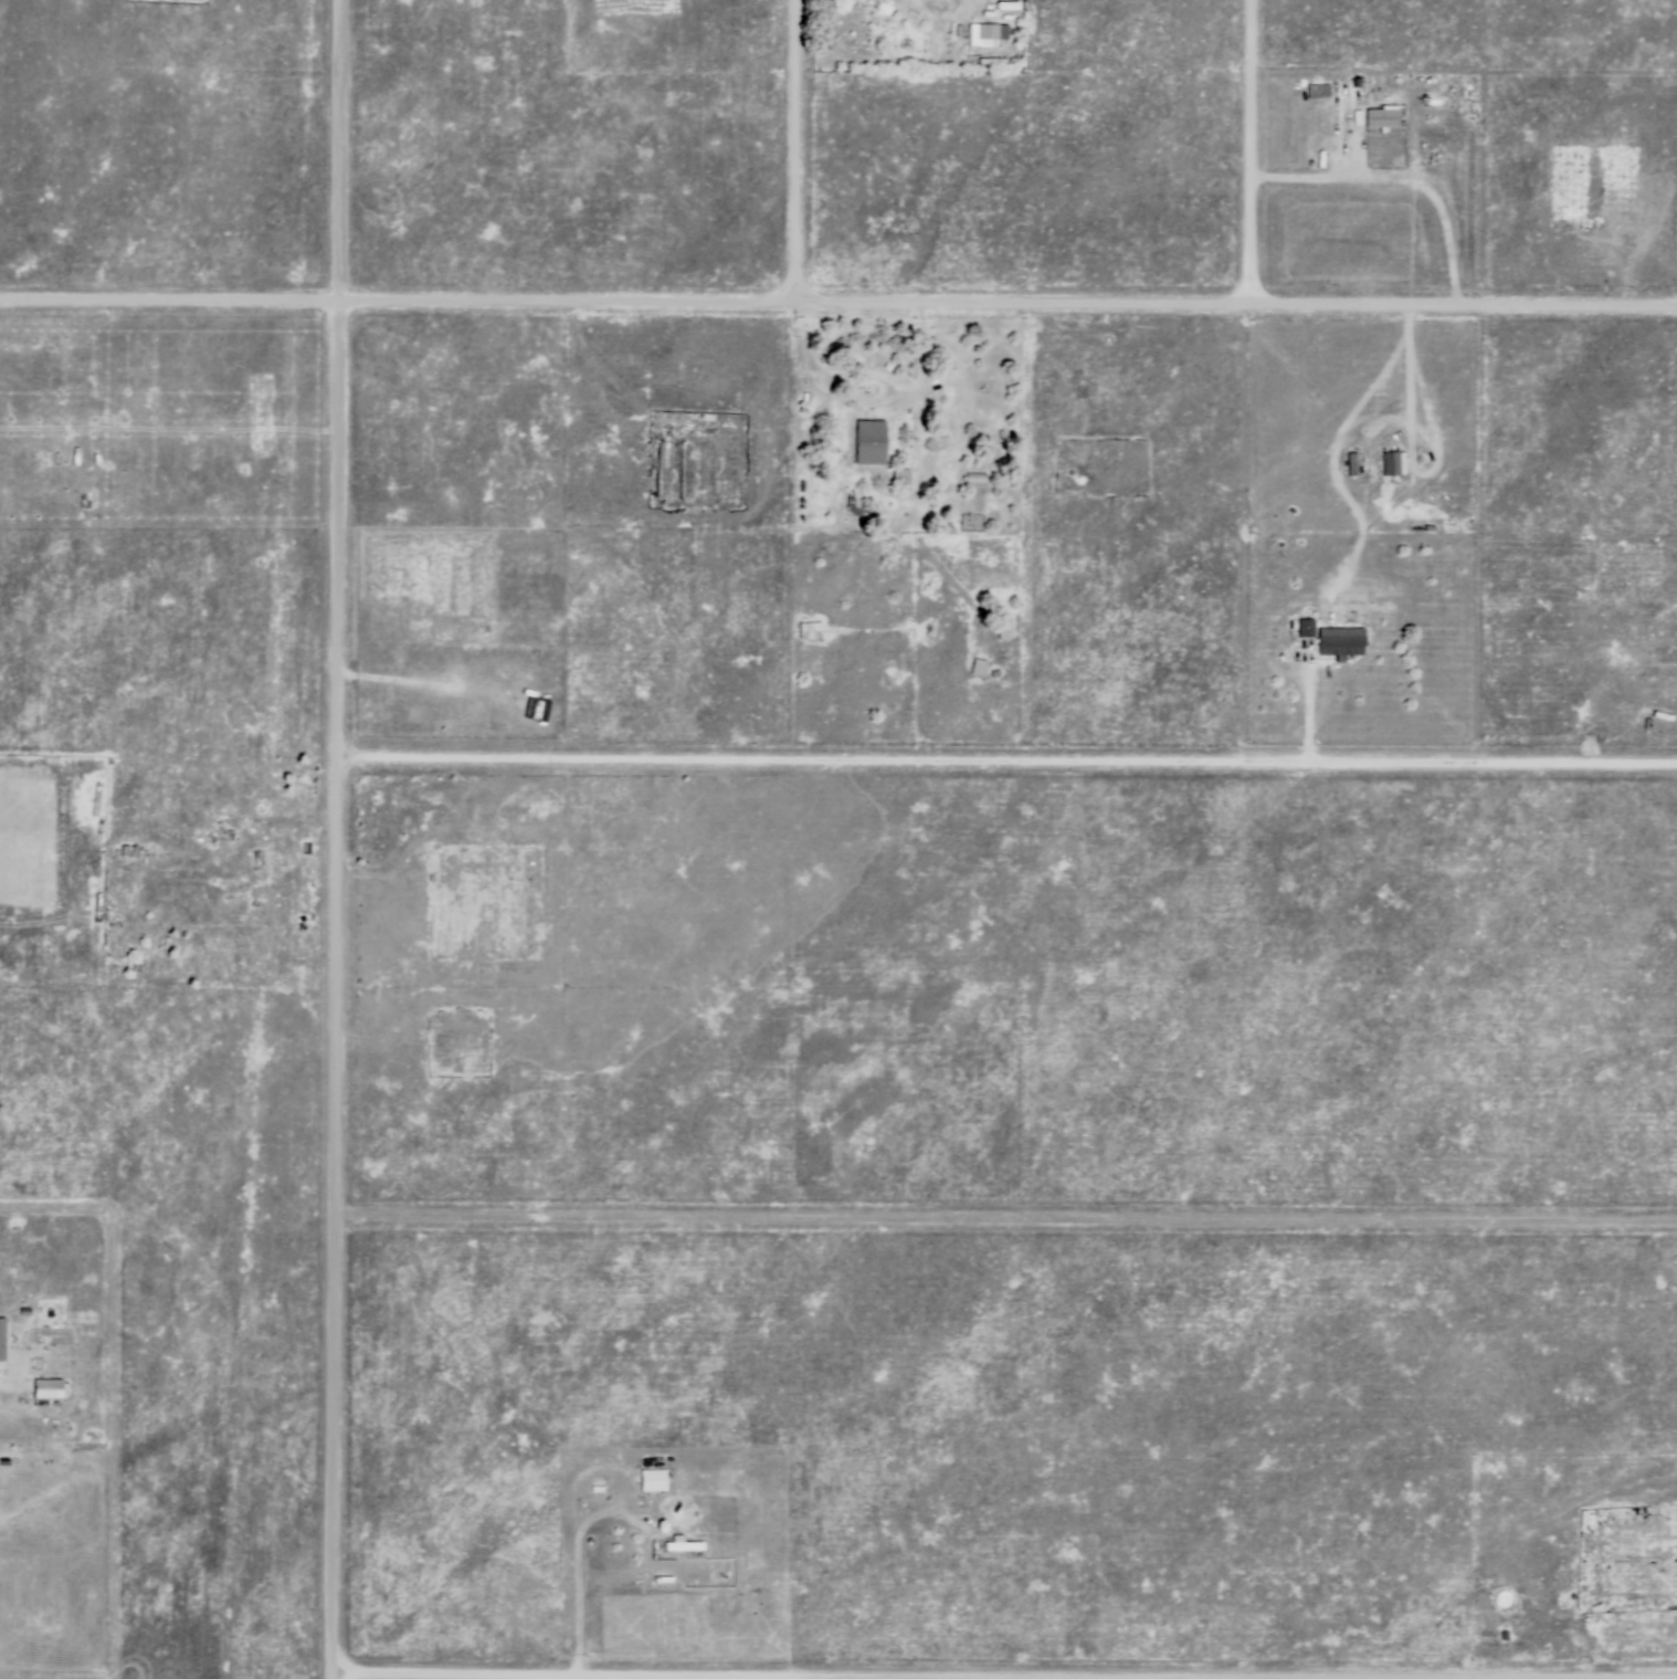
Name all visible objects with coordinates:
building: (987, 33)
building: (1386, 117)
road: (790, 153)
road: (1245, 153)
road: (1361, 154)
road: (1400, 179)
road: (837, 305)
road: (1411, 371)
building: (808, 397)
building: (871, 441)
building: (1353, 462)
building: (1394, 462)
building: (903, 476)
building: (977, 480)
building: (856, 507)
building: (810, 630)
building: (1001, 631)
building: (1331, 639)
storage tank: (1282, 655)
building: (977, 667)
road: (1308, 710)
road: (1008, 763)
building: (377, 798)
road: (337, 836)
building: (130, 850)
road: (1005, 1221)
building: (2, 1340)
building: (50, 1387)
building: (651, 1481)
building: (599, 1489)
road: (578, 1522)
building: (685, 1545)
road: (330, 1676)
road: (905, 1676)

